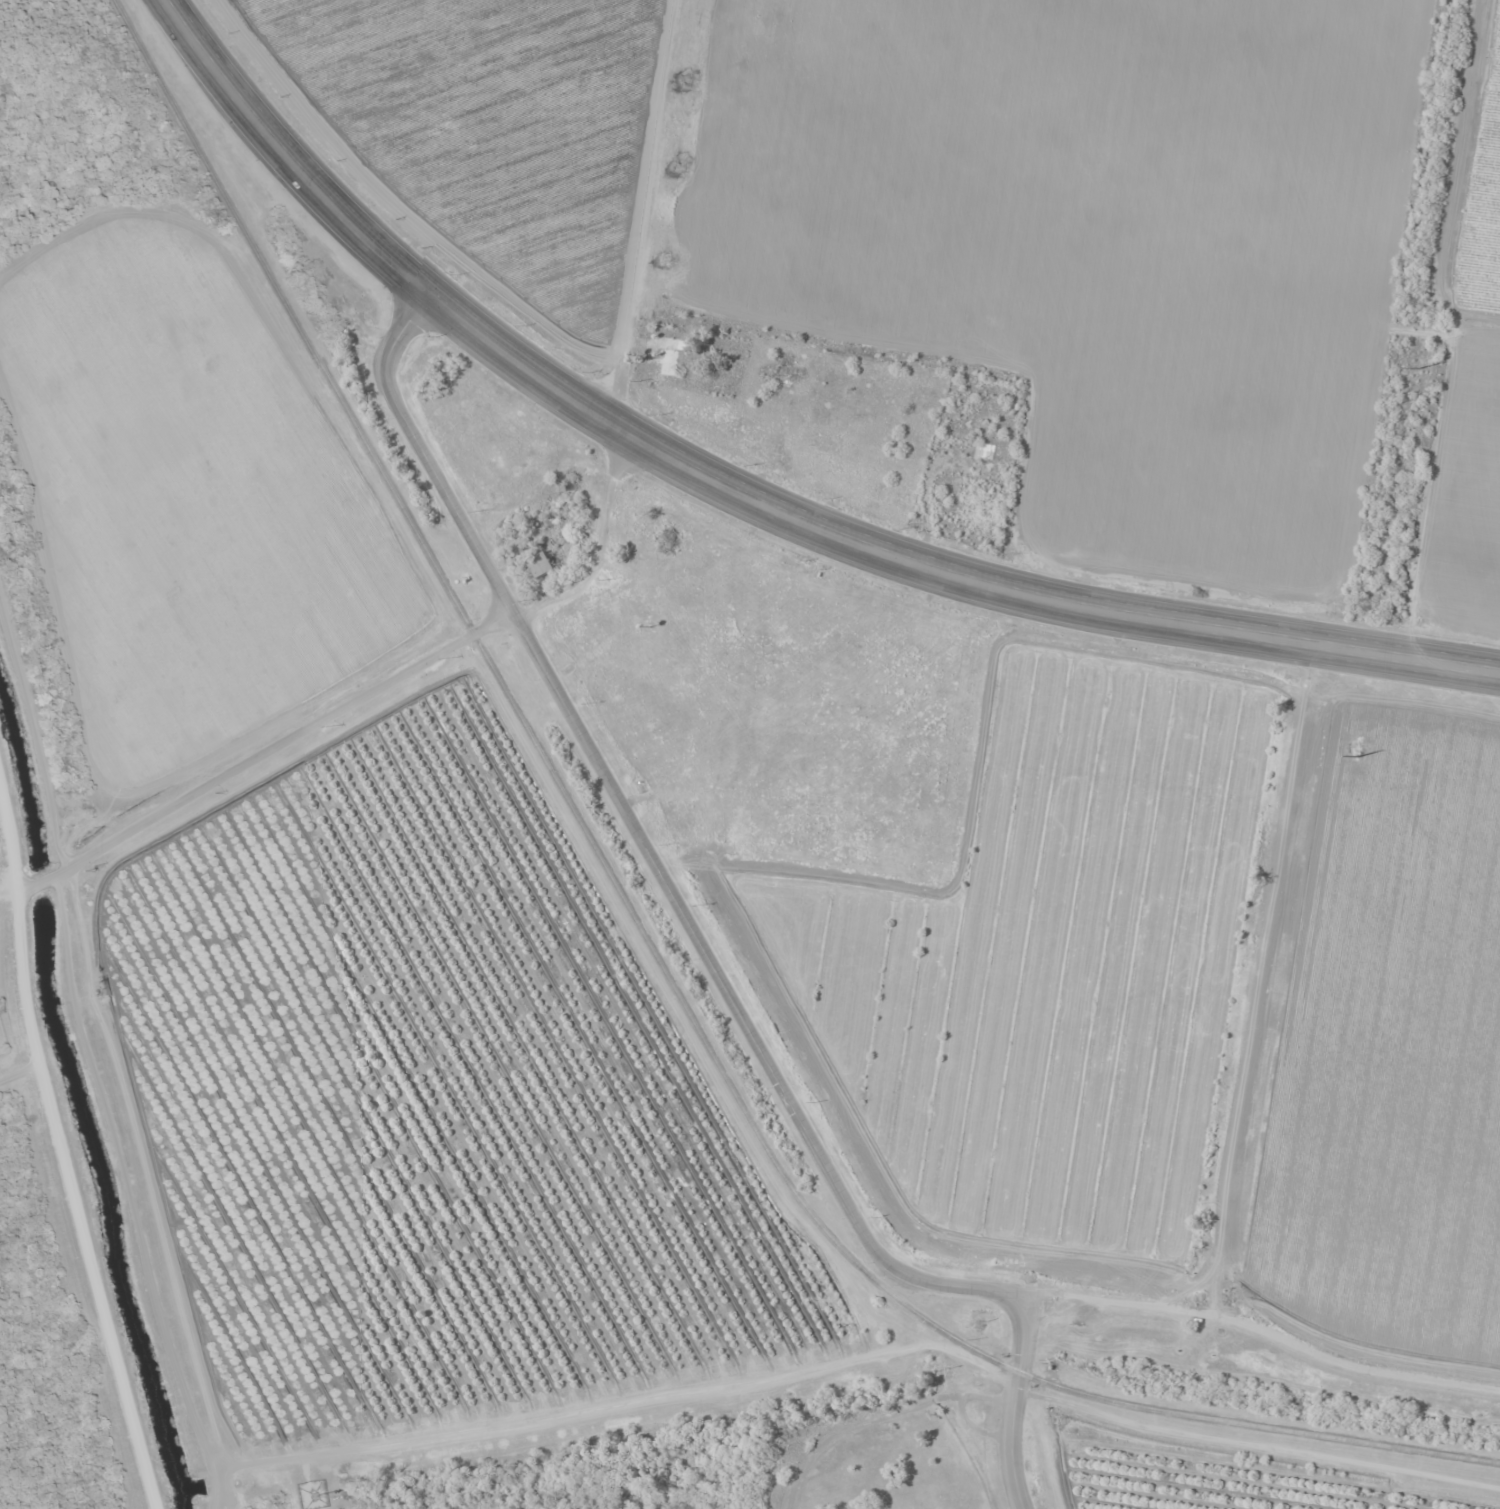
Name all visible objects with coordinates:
road: (288, 155)
building: (671, 354)
building: (647, 533)
building: (541, 564)
road: (933, 567)
building: (694, 583)
building: (654, 654)
road: (255, 753)
road: (642, 841)
railway: (645, 937)
road: (18, 1069)
road: (60, 1154)
road: (1261, 1329)
road: (1018, 1401)

